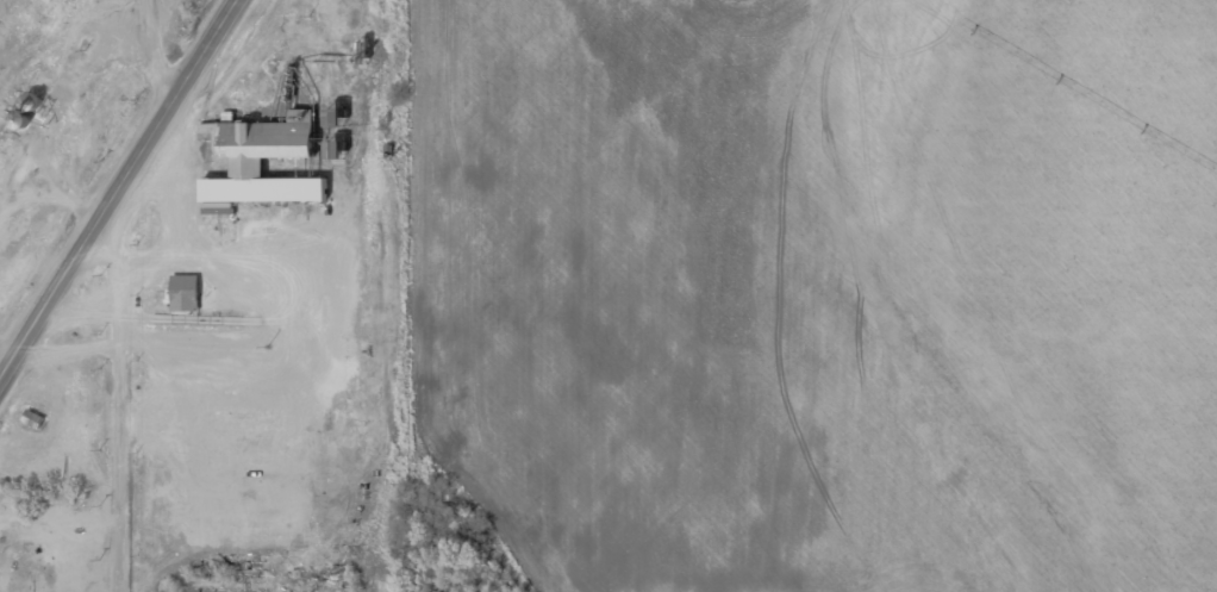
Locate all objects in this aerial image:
building: (27, 100)
silo: (27, 100)
building: (343, 116)
building: (15, 118)
silo: (15, 118)
building: (342, 149)
building: (264, 155)
road: (118, 188)
building: (183, 287)
building: (32, 418)
road: (112, 468)

